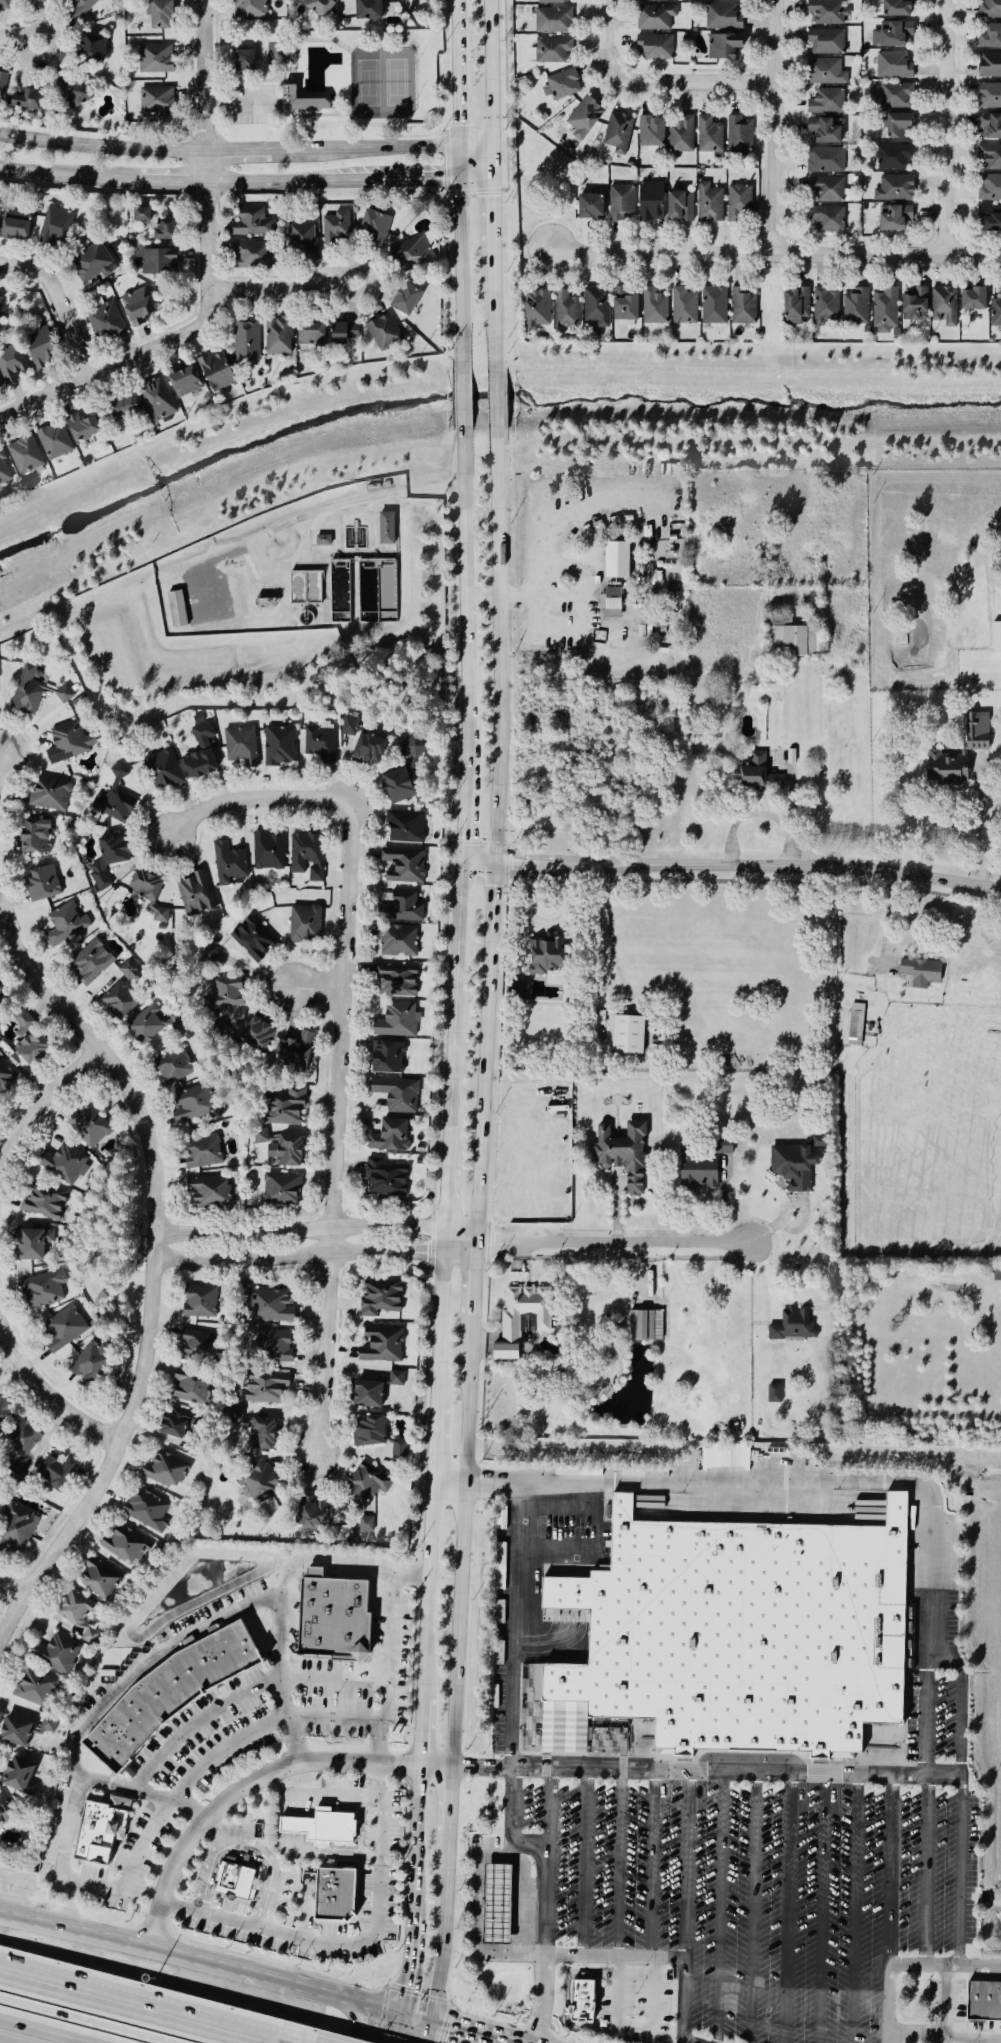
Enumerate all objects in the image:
building: (655, 0)
building: (37, 1)
building: (554, 1)
building: (5, 4)
building: (320, 6)
building: (79, 8)
building: (250, 8)
building: (897, 8)
building: (368, 9)
building: (990, 9)
building: (829, 11)
building: (161, 14)
building: (656, 17)
building: (724, 17)
building: (554, 20)
building: (893, 33)
building: (686, 36)
building: (991, 36)
road: (19, 41)
building: (827, 41)
building: (724, 45)
building: (657, 46)
building: (92, 47)
building: (553, 50)
building: (156, 58)
building: (244, 59)
building: (894, 65)
building: (990, 65)
road: (489, 70)
road: (455, 71)
building: (826, 71)
road: (654, 83)
building: (3, 84)
building: (562, 84)
building: (78, 94)
building: (897, 95)
building: (990, 96)
building: (27, 98)
building: (157, 101)
building: (827, 101)
building: (310, 104)
building: (585, 117)
road: (772, 125)
building: (896, 126)
road: (942, 126)
building: (991, 126)
building: (827, 130)
building: (619, 132)
building: (652, 133)
building: (740, 134)
building: (682, 135)
building: (710, 136)
road: (474, 141)
traffic signals: (491, 141)
traffic signals: (457, 142)
road: (102, 146)
road: (204, 146)
road: (362, 146)
road: (237, 151)
building: (894, 156)
building: (991, 156)
road: (491, 158)
building: (826, 160)
road: (69, 175)
road: (474, 175)
traffic signals: (491, 175)
road: (416, 176)
traffic signals: (457, 176)
road: (289, 179)
road: (170, 182)
building: (990, 187)
building: (895, 188)
building: (827, 190)
building: (0, 201)
building: (651, 201)
building: (622, 203)
building: (710, 203)
building: (740, 203)
building: (591, 205)
building: (680, 206)
building: (142, 214)
road: (493, 214)
building: (895, 217)
building: (990, 218)
building: (829, 219)
building: (254, 222)
building: (15, 224)
building: (56, 226)
building: (336, 226)
building: (376, 226)
building: (164, 229)
building: (304, 238)
building: (414, 252)
road: (776, 252)
building: (253, 253)
road: (459, 257)
building: (159, 261)
building: (93, 263)
road: (280, 290)
building: (407, 298)
building: (974, 298)
building: (1, 301)
road: (66, 302)
building: (625, 304)
building: (916, 304)
building: (714, 305)
building: (797, 305)
building: (826, 305)
building: (945, 305)
building: (138, 306)
building: (597, 306)
building: (655, 306)
building: (684, 306)
building: (743, 306)
building: (857, 307)
building: (537, 309)
building: (566, 309)
building: (886, 311)
building: (996, 312)
road: (495, 313)
building: (104, 323)
building: (382, 333)
building: (309, 334)
building: (344, 334)
building: (277, 337)
building: (245, 342)
building: (40, 349)
building: (11, 365)
road: (119, 368)
building: (214, 372)
building: (183, 382)
road: (497, 398)
road: (464, 399)
building: (155, 401)
building: (122, 408)
building: (81, 428)
building: (53, 442)
building: (24, 456)
building: (4, 472)
road: (335, 507)
road: (561, 509)
building: (386, 528)
building: (324, 540)
building: (619, 559)
road: (541, 594)
road: (465, 598)
building: (610, 599)
building: (178, 609)
building: (789, 638)
building: (996, 638)
building: (26, 691)
building: (64, 694)
building: (201, 732)
building: (976, 742)
building: (68, 743)
building: (318, 743)
building: (240, 746)
building: (278, 746)
building: (413, 747)
building: (367, 751)
road: (0, 752)
building: (198, 764)
building: (944, 770)
building: (162, 771)
building: (117, 772)
building: (753, 776)
building: (396, 786)
building: (49, 794)
road: (257, 805)
building: (113, 806)
road: (460, 817)
building: (404, 827)
road: (492, 833)
road: (978, 836)
building: (34, 837)
building: (267, 852)
building: (306, 856)
building: (107, 858)
building: (228, 864)
building: (402, 866)
road: (730, 866)
building: (41, 883)
building: (146, 894)
building: (193, 894)
building: (402, 908)
road: (610, 918)
road: (891, 920)
building: (67, 921)
building: (304, 925)
building: (252, 939)
building: (397, 942)
building: (545, 956)
building: (90, 965)
building: (131, 972)
building: (919, 973)
building: (395, 980)
building: (221, 994)
road: (319, 994)
building: (1, 996)
building: (118, 1002)
road: (451, 1015)
road: (340, 1017)
building: (395, 1021)
building: (599, 1023)
building: (153, 1025)
building: (854, 1025)
building: (257, 1034)
building: (626, 1036)
building: (27, 1039)
building: (0, 1042)
building: (294, 1054)
building: (386, 1058)
building: (172, 1067)
building: (5, 1078)
building: (396, 1095)
road: (39, 1097)
building: (192, 1105)
building: (282, 1107)
building: (89, 1128)
building: (389, 1136)
building: (817, 1142)
building: (719, 1147)
building: (288, 1152)
building: (200, 1153)
building: (622, 1154)
building: (62, 1163)
building: (791, 1167)
building: (696, 1171)
building: (384, 1179)
building: (280, 1190)
building: (209, 1193)
road: (444, 1198)
building: (43, 1201)
road: (300, 1231)
road: (459, 1235)
road: (442, 1242)
road: (613, 1242)
building: (32, 1244)
road: (458, 1248)
road: (298, 1256)
road: (155, 1268)
road: (474, 1275)
road: (769, 1279)
building: (42, 1292)
building: (379, 1298)
building: (198, 1302)
building: (271, 1307)
building: (521, 1319)
building: (644, 1326)
building: (791, 1326)
building: (63, 1331)
road: (438, 1331)
road: (321, 1340)
building: (196, 1345)
building: (379, 1346)
building: (274, 1347)
building: (88, 1359)
building: (394, 1379)
building: (190, 1387)
building: (264, 1390)
building: (775, 1393)
building: (367, 1394)
road: (48, 1402)
building: (5, 1413)
building: (175, 1423)
building: (368, 1432)
building: (261, 1434)
building: (21, 1439)
road: (433, 1444)
building: (397, 1451)
building: (164, 1469)
building: (55, 1472)
road: (448, 1482)
building: (259, 1483)
road: (840, 1483)
building: (365, 1484)
building: (145, 1510)
building: (309, 1515)
building: (366, 1524)
building: (15, 1530)
road: (461, 1538)
building: (124, 1546)
road: (320, 1558)
building: (98, 1579)
road: (426, 1590)
road: (10, 1592)
building: (77, 1615)
building: (332, 1619)
road: (516, 1625)
building: (740, 1633)
road: (159, 1653)
building: (56, 1654)
road: (390, 1654)
road: (333, 1679)
building: (34, 1689)
building: (169, 1694)
road: (960, 1706)
road: (197, 1722)
building: (47, 1725)
building: (14, 1732)
road: (420, 1733)
road: (434, 1766)
road: (688, 1772)
building: (18, 1778)
road: (238, 1791)
road: (448, 1797)
road: (547, 1806)
building: (3, 1808)
road: (162, 1812)
road: (416, 1818)
road: (291, 1821)
building: (334, 1826)
road: (228, 1827)
building: (299, 1827)
building: (99, 1831)
road: (249, 1840)
road: (959, 1853)
road: (586, 1862)
road: (622, 1863)
road: (652, 1863)
road: (689, 1864)
road: (893, 1869)
road: (926, 1870)
building: (234, 1880)
road: (531, 1884)
road: (544, 1890)
building: (333, 1896)
road: (70, 1905)
road: (520, 1905)
building: (496, 1906)
road: (719, 1908)
road: (754, 1908)
road: (788, 1908)
road: (822, 1909)
road: (858, 1909)
road: (442, 1924)
road: (410, 1941)
road: (353, 1942)
road: (660, 1956)
road: (910, 1962)
road: (201, 1963)
traffic signals: (406, 1985)
building: (583, 2001)
building: (982, 2003)
road: (137, 2006)
road: (351, 2016)
road: (416, 2017)
traffic signals: (451, 2027)
road: (398, 2028)
road: (640, 2028)
road: (47, 2030)
road: (464, 2030)
road: (425, 2032)
road: (941, 2036)
road: (963, 2040)
road: (494, 2041)
road: (506, 2041)

